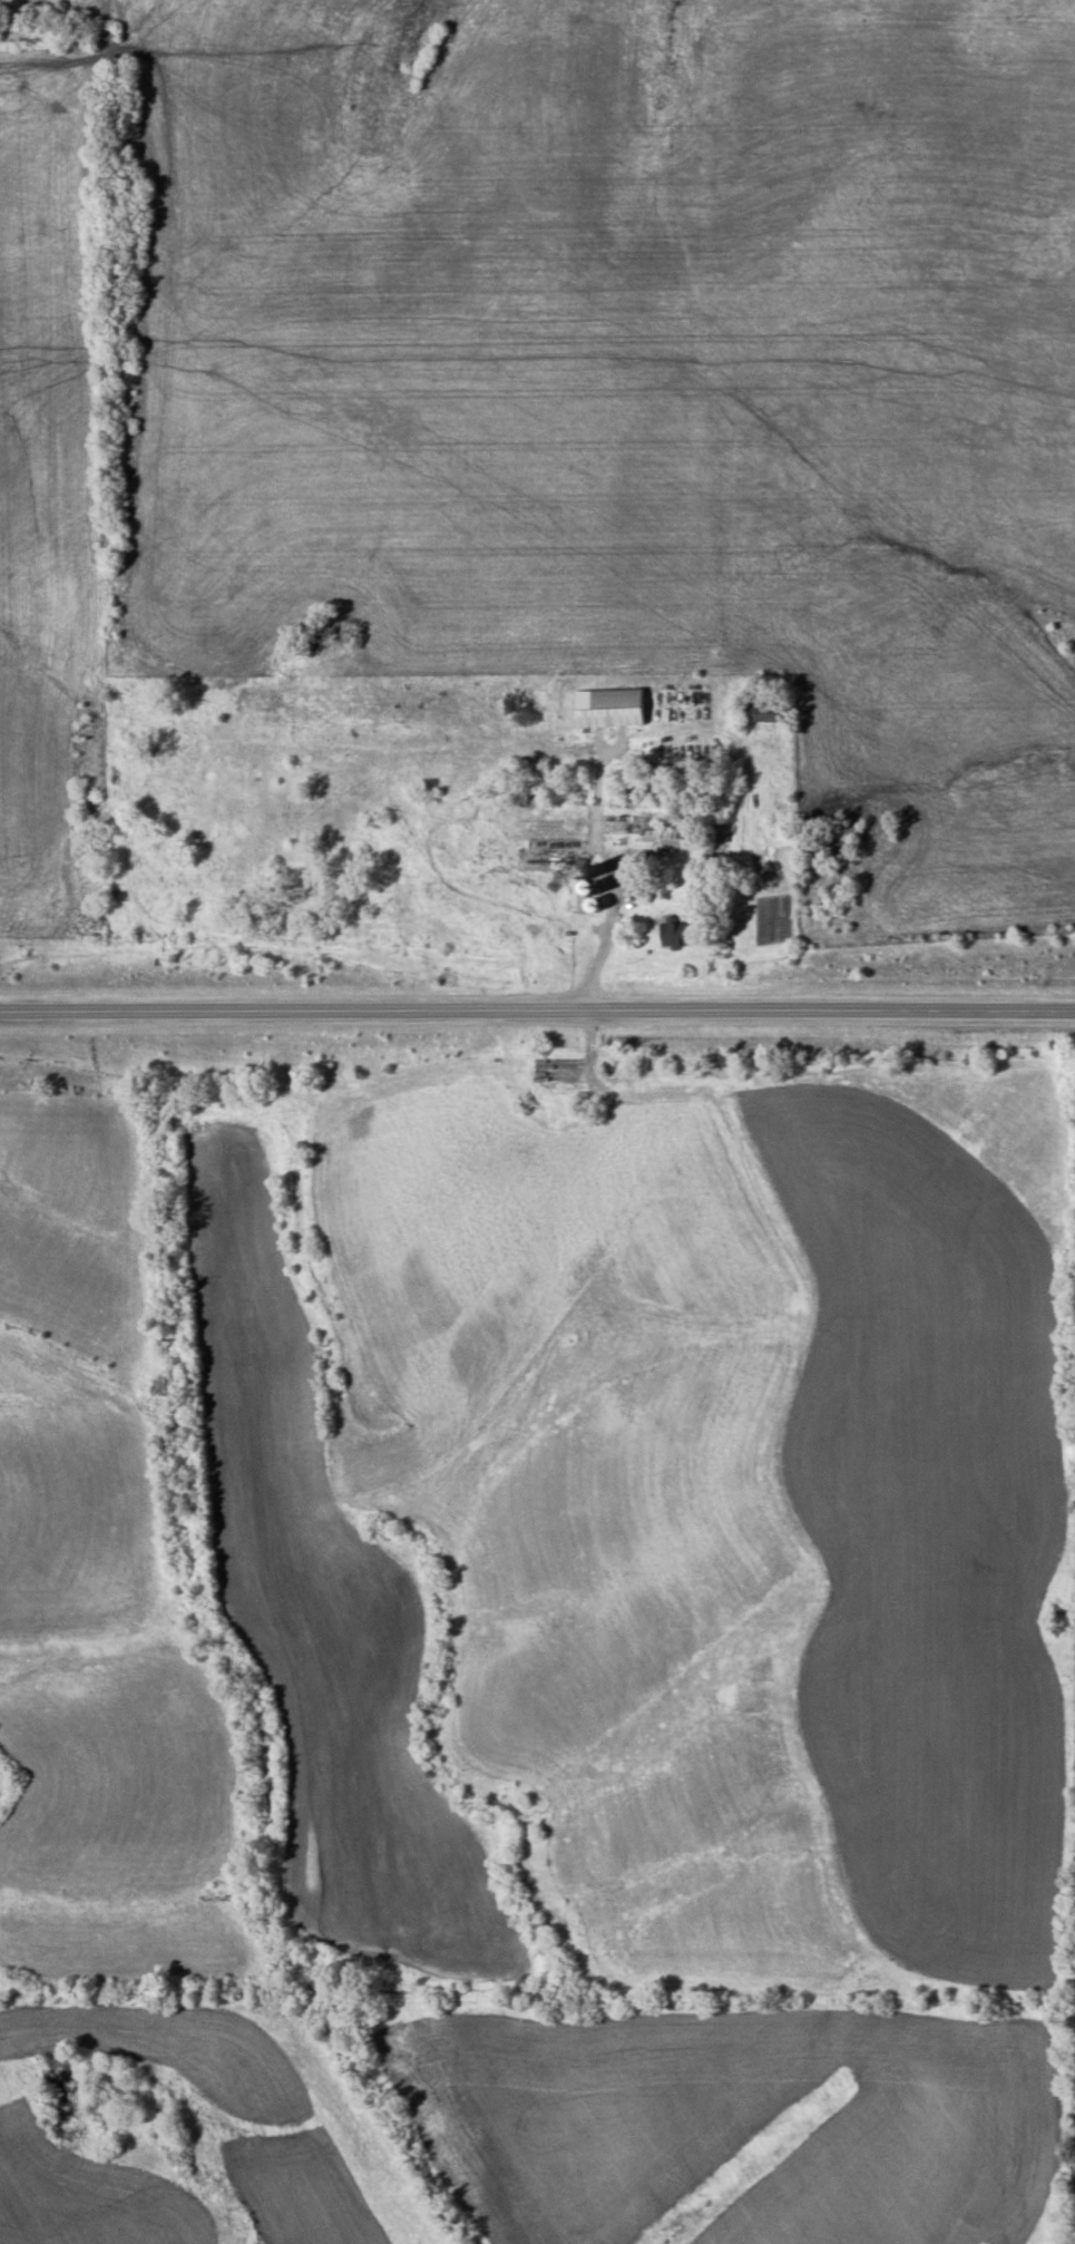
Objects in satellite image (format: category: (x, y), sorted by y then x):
building: (604, 708)
building: (759, 710)
building: (659, 838)
building: (670, 933)
road: (597, 949)
road: (537, 1009)

